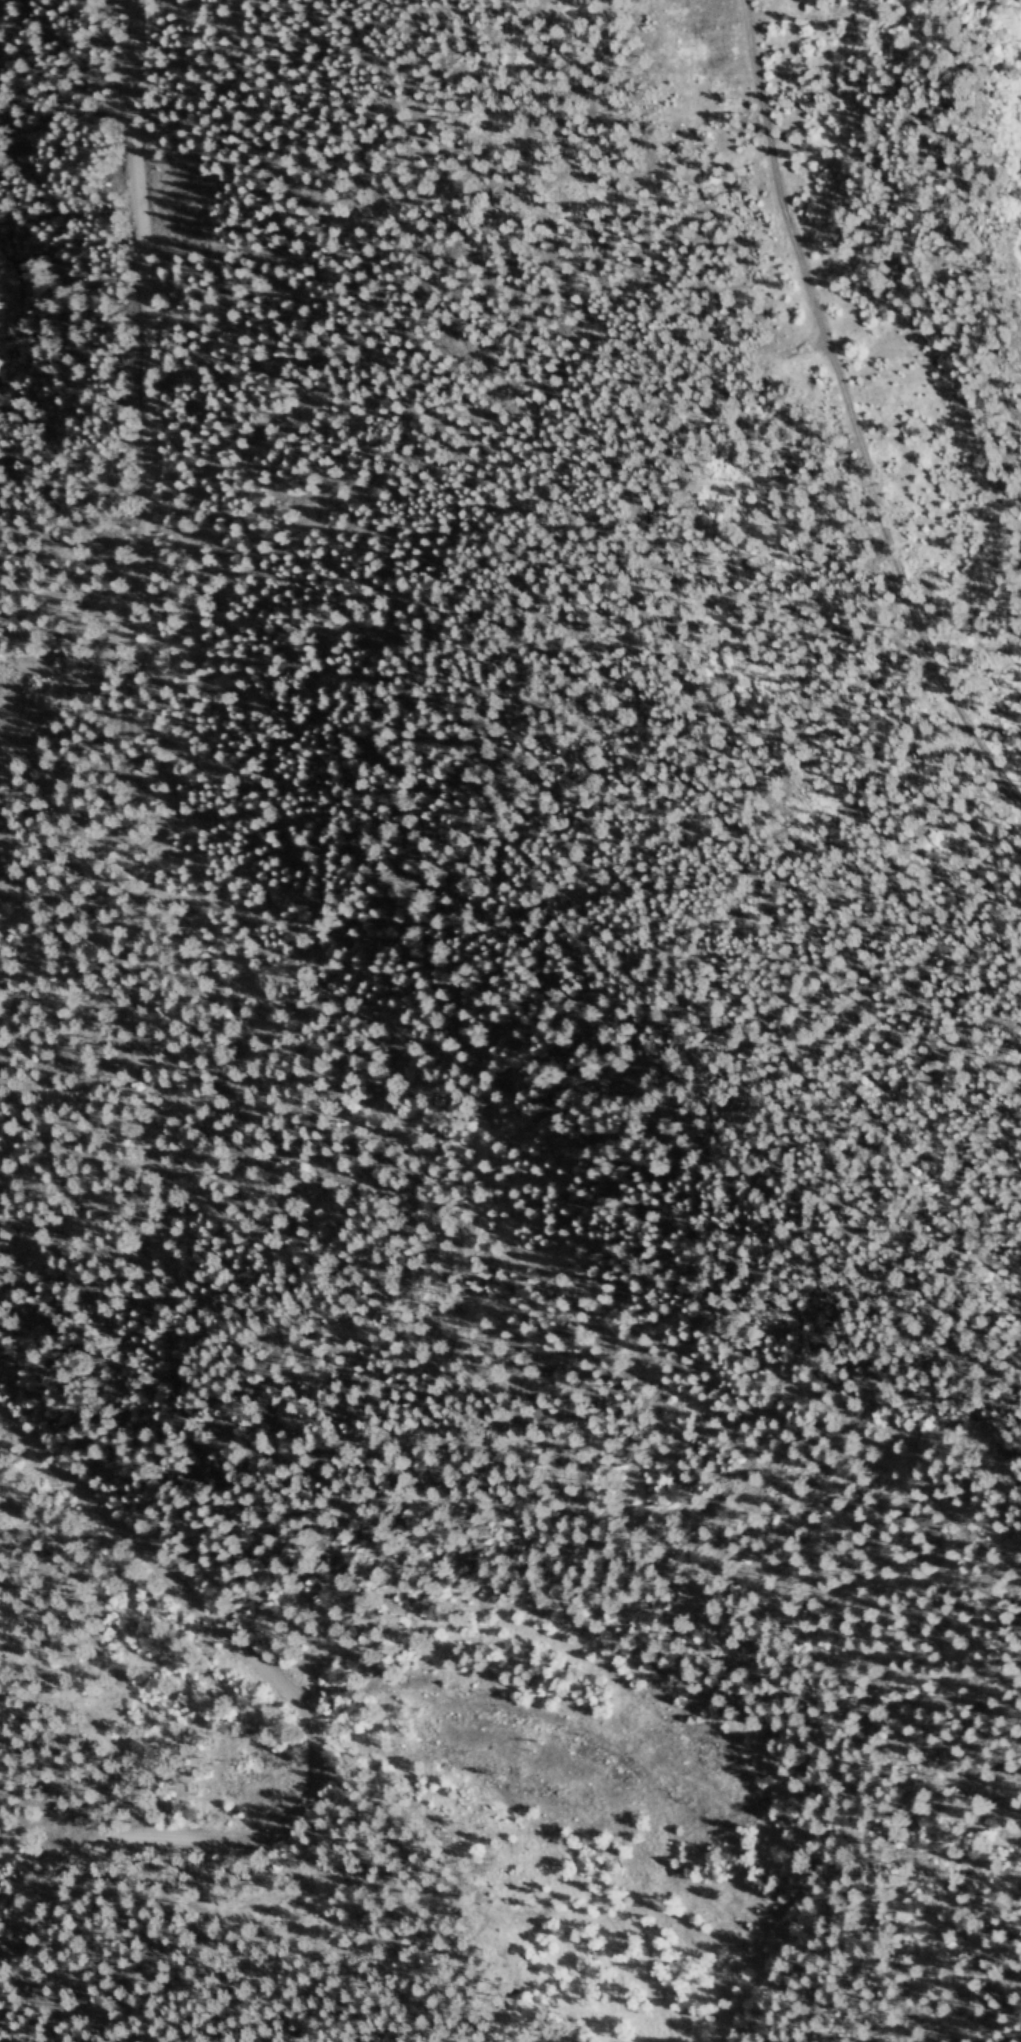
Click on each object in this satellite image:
road: (150, 413)
road: (849, 414)
road: (406, 1224)
road: (313, 1732)
road: (304, 2034)

